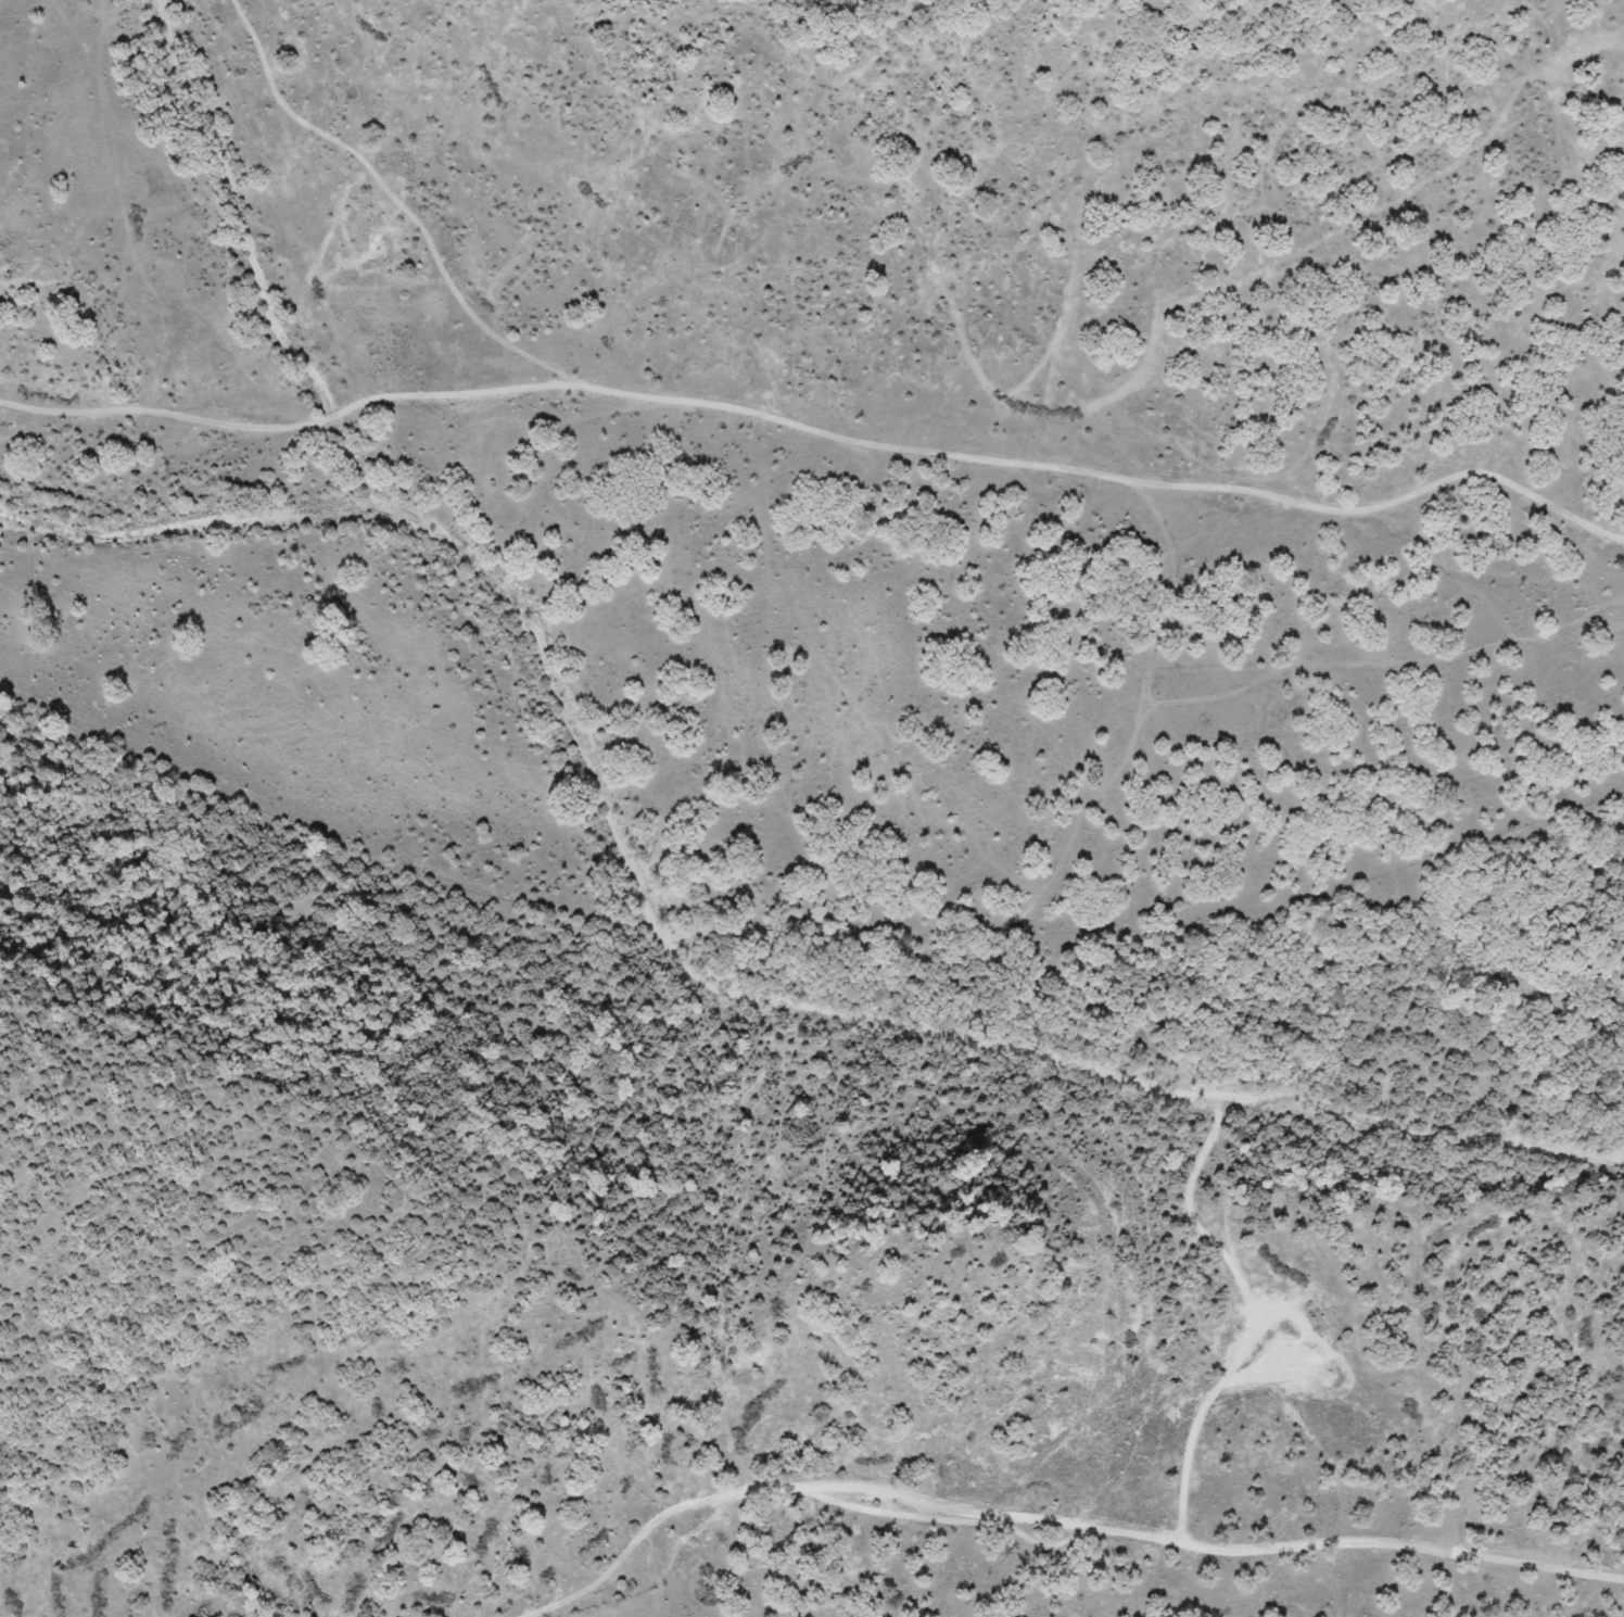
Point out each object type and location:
road: (862, 732)
road: (1054, 1534)

